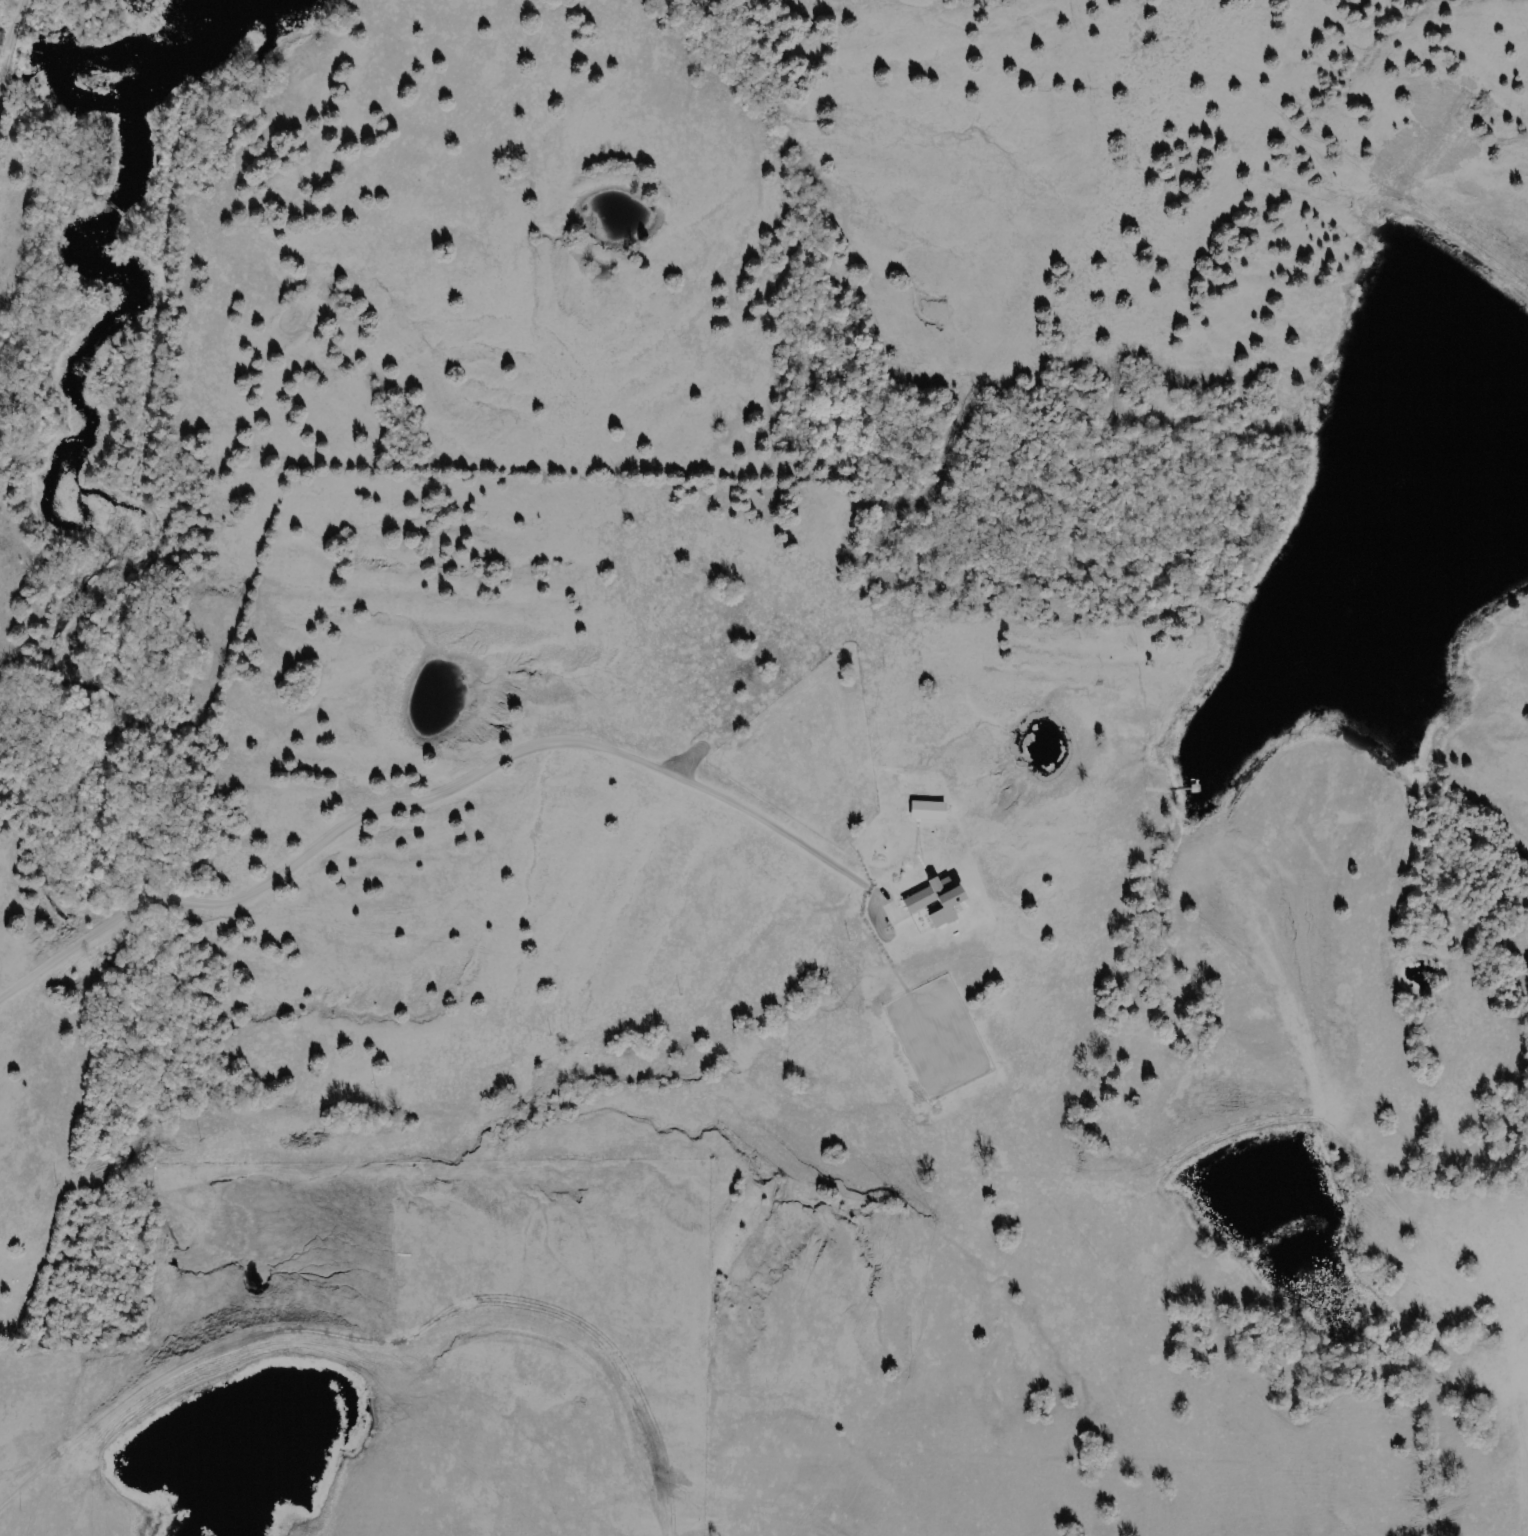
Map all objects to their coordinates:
road: (6, 30)
building: (932, 809)
building: (920, 902)

